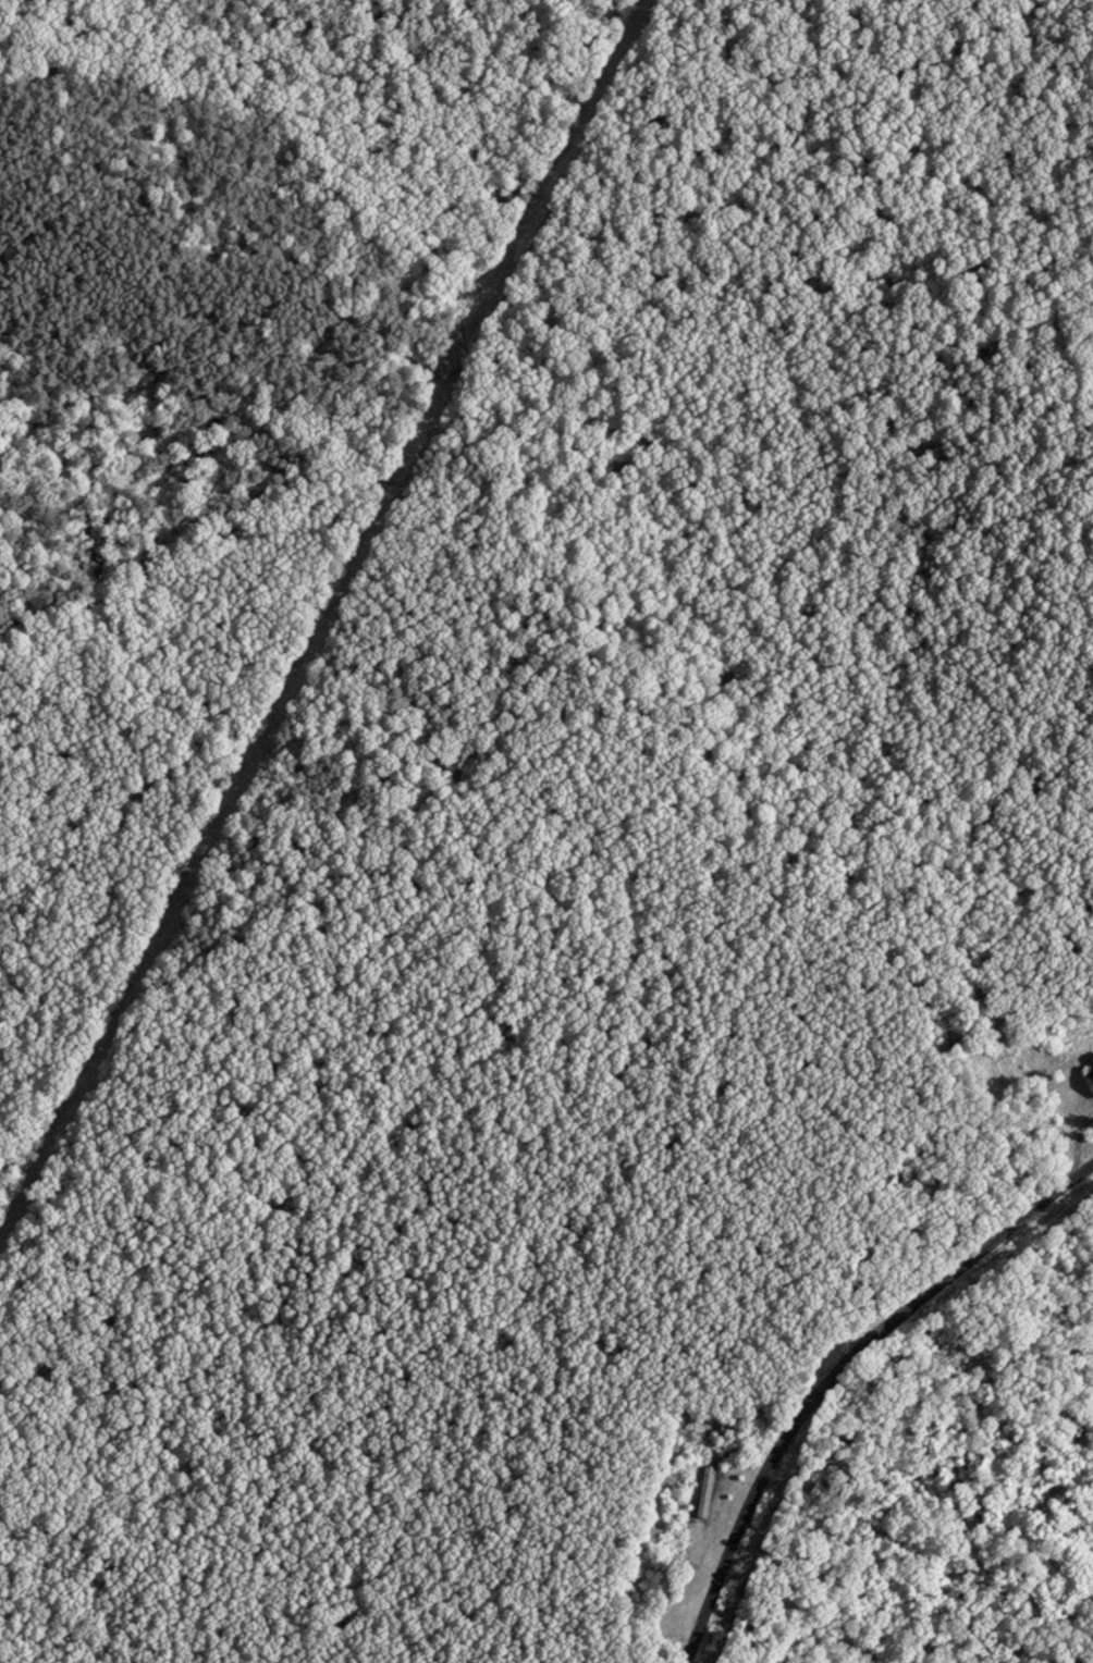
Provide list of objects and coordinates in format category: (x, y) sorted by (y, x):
building: (1090, 1077)
road: (834, 1369)
building: (707, 1491)

